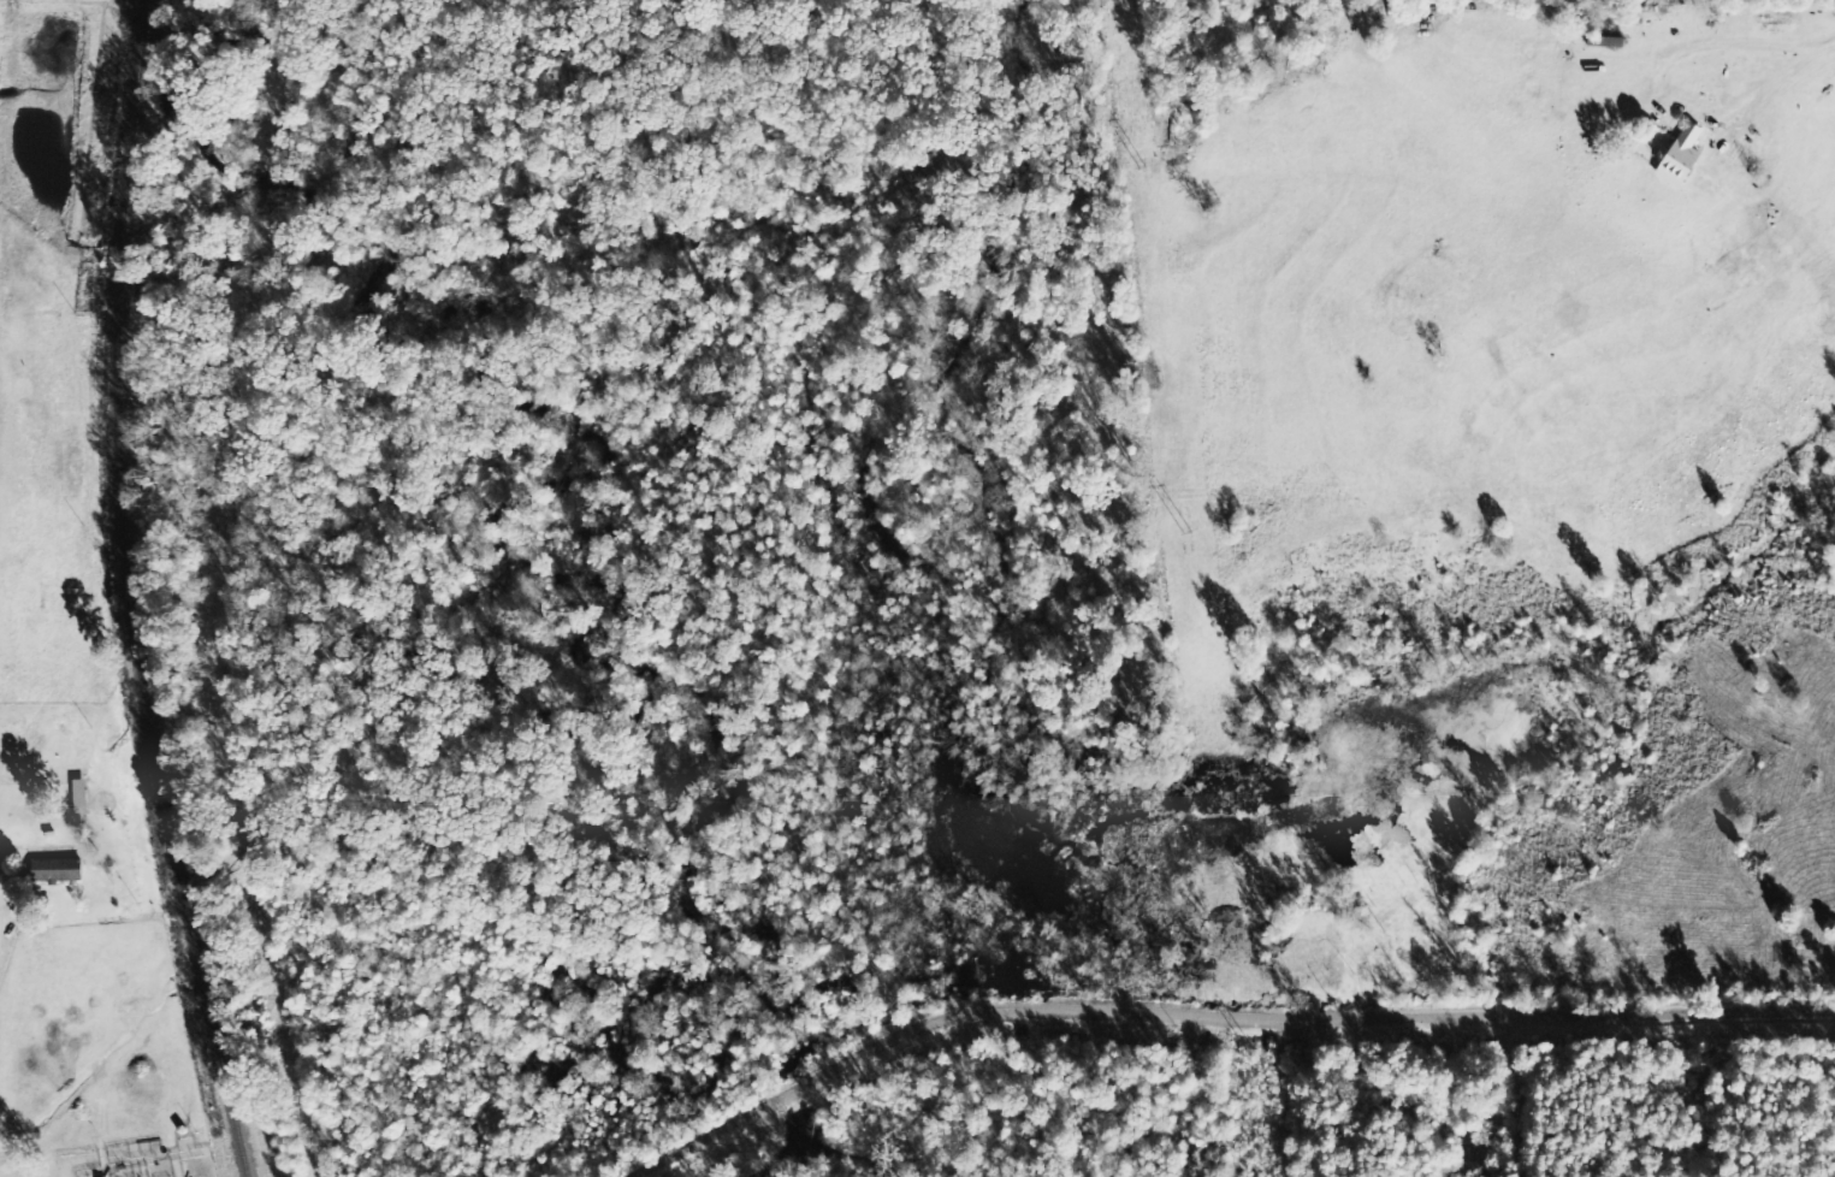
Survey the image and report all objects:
power tower: (1144, 171)
power tower: (1189, 534)
railway: (124, 595)
building: (82, 798)
building: (60, 870)
road: (1260, 1025)
power tower: (1254, 1053)

